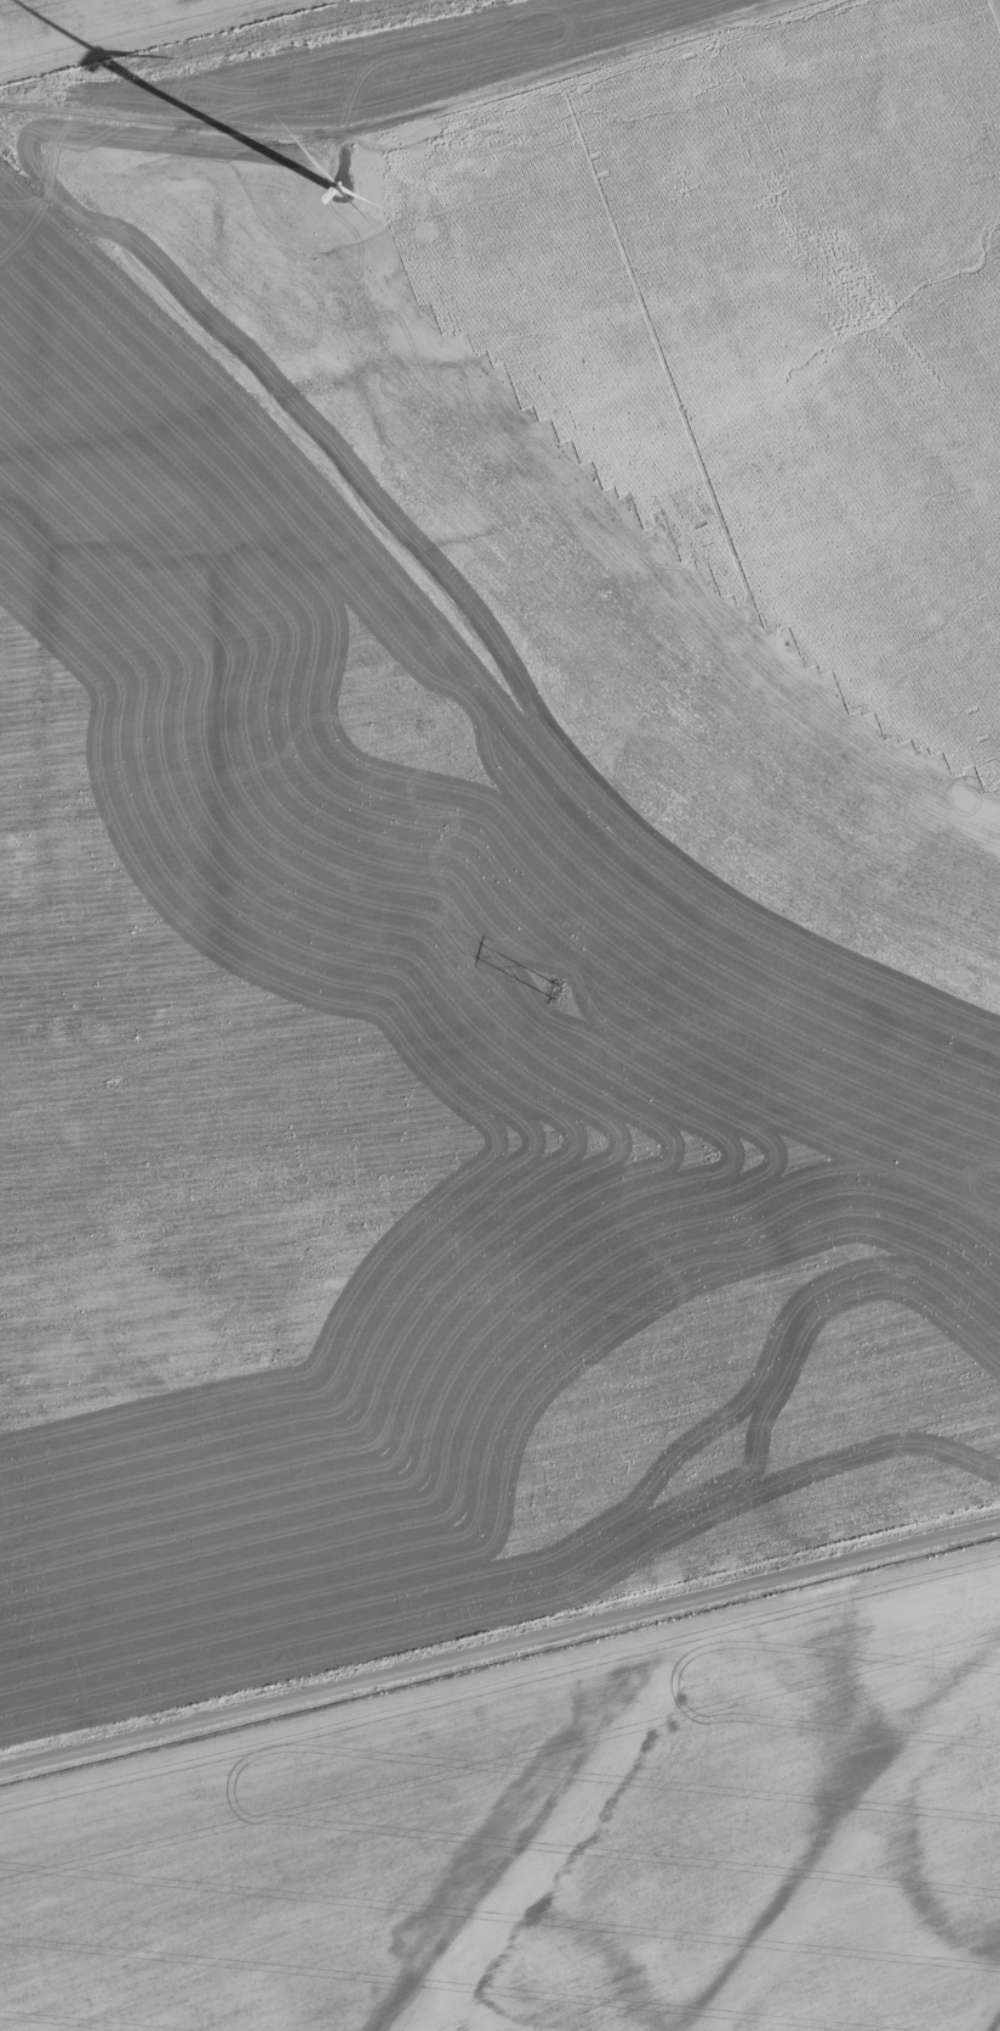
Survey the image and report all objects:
wind turbine: (342, 194)
power tower: (553, 990)
road: (500, 1642)

